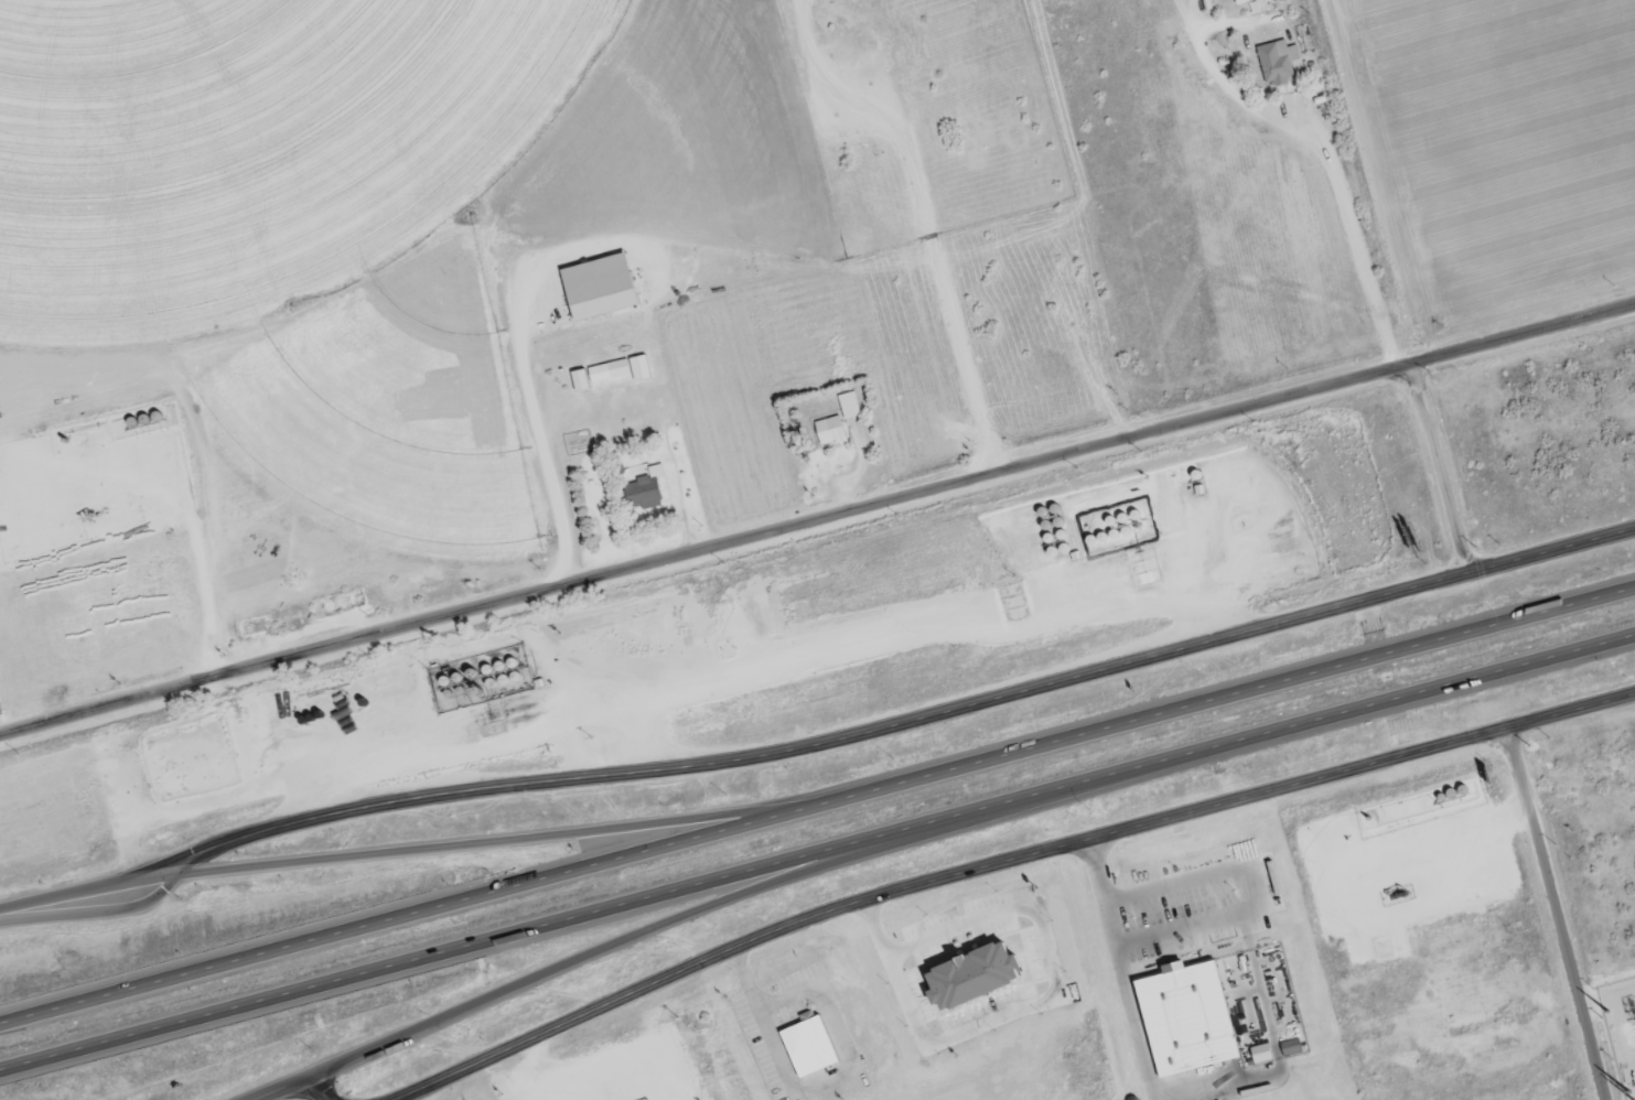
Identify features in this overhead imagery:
building: (1278, 60)
road: (1320, 142)
road: (922, 216)
building: (610, 371)
building: (850, 406)
building: (830, 431)
road: (1440, 468)
road: (817, 520)
road: (1570, 709)
road: (902, 721)
road: (817, 806)
road: (507, 839)
road: (817, 851)
road: (940, 877)
road: (754, 889)
road: (83, 893)
road: (1555, 913)
road: (92, 914)
road: (1123, 968)
power tower: (1606, 1011)
power substation: (1621, 1027)
road: (275, 1091)
road: (318, 1091)
power tower: (1626, 1092)
power tower: (1634, 1099)

